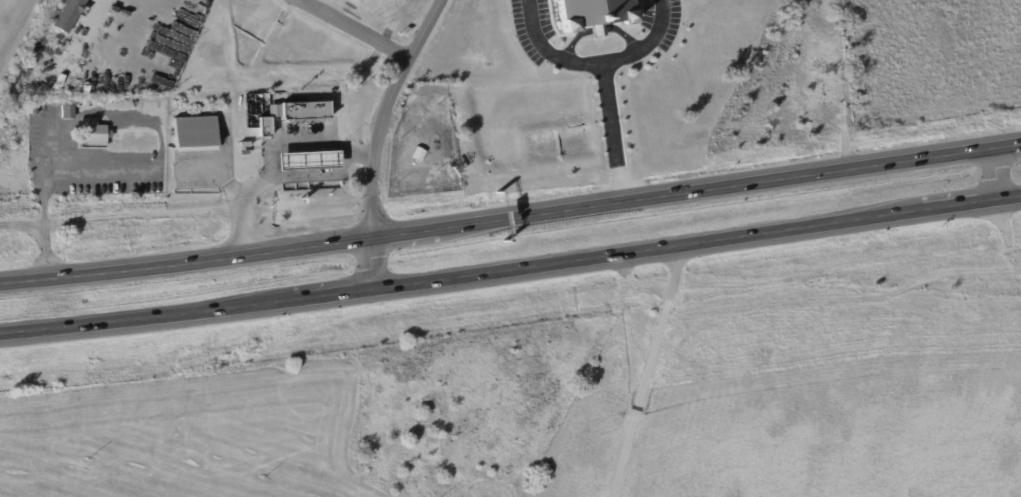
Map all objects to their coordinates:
park: (8, 15)
building: (594, 15)
building: (67, 16)
road: (144, 30)
road: (352, 30)
road: (645, 46)
road: (549, 52)
building: (832, 92)
building: (306, 112)
building: (68, 114)
building: (350, 124)
building: (426, 125)
building: (265, 127)
building: (447, 134)
building: (195, 135)
building: (91, 136)
road: (378, 138)
road: (611, 139)
road: (293, 143)
building: (448, 145)
road: (357, 150)
building: (448, 156)
building: (306, 161)
road: (221, 170)
road: (97, 175)
road: (994, 176)
road: (43, 201)
road: (511, 221)
road: (510, 270)
road: (648, 372)

